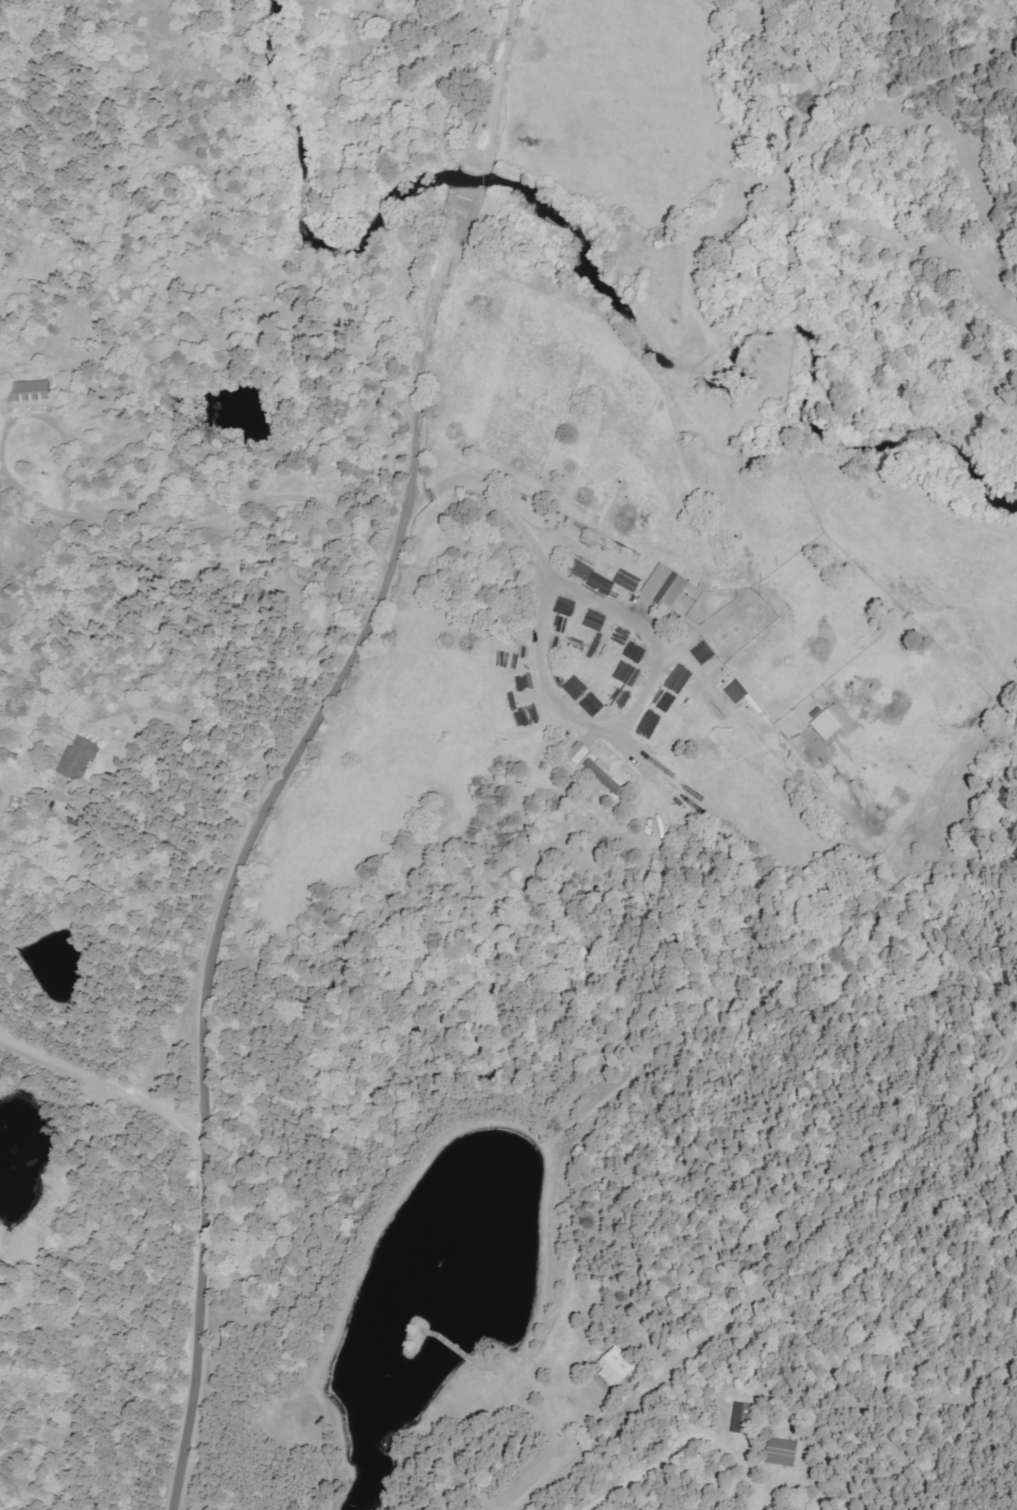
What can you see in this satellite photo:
building: (36, 394)
building: (327, 465)
building: (0, 492)
building: (668, 587)
building: (828, 722)
road: (297, 747)
building: (583, 753)
building: (83, 758)
building: (605, 776)
road: (104, 1071)
building: (746, 1418)
building: (787, 1452)

